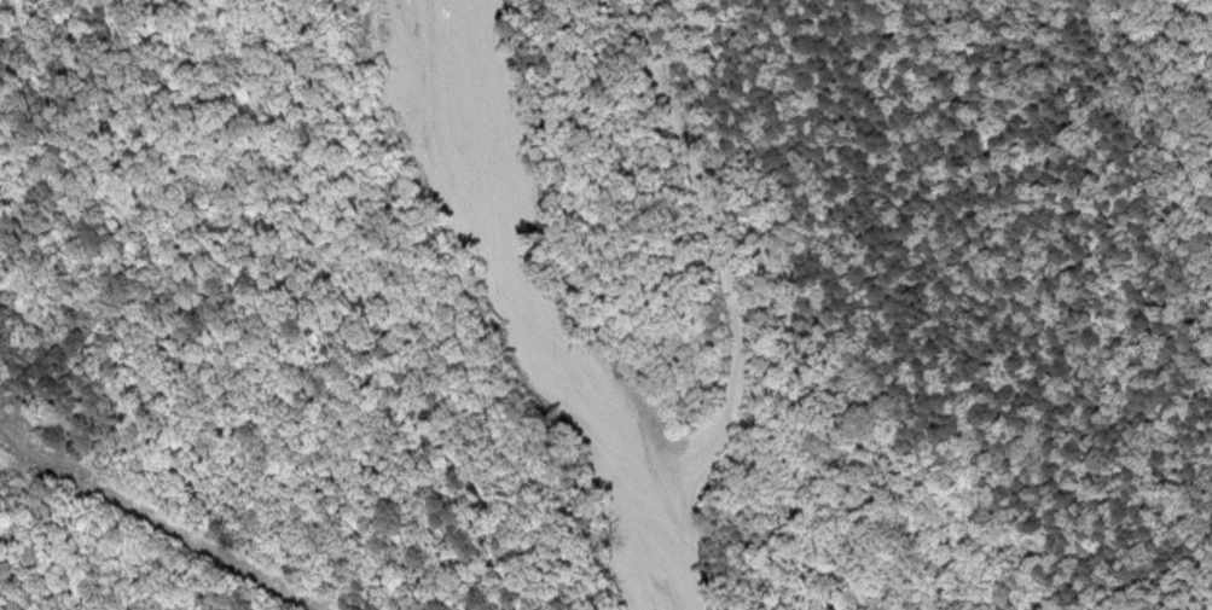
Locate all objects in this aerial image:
road: (371, 292)

